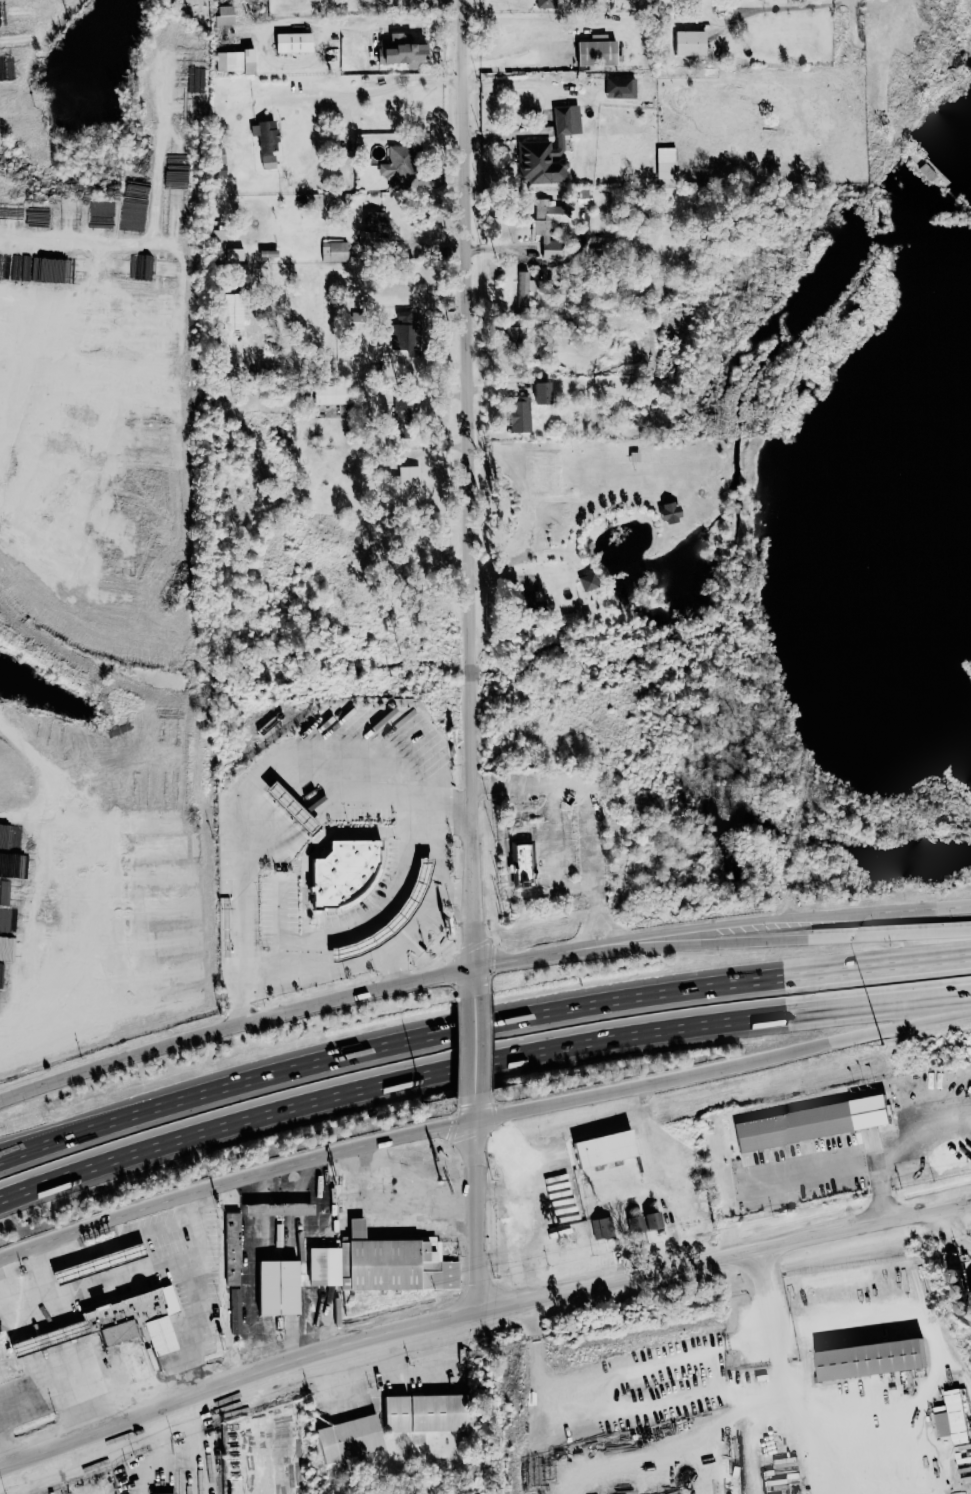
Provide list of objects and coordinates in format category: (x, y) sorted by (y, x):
building: (542, 3)
road: (780, 7)
building: (221, 14)
building: (289, 42)
building: (687, 42)
building: (395, 50)
building: (594, 51)
road: (512, 59)
building: (234, 61)
building: (618, 88)
road: (371, 91)
building: (262, 135)
building: (545, 149)
building: (266, 161)
building: (664, 163)
building: (391, 165)
building: (582, 195)
building: (177, 202)
building: (372, 221)
building: (546, 225)
building: (332, 251)
building: (237, 254)
building: (522, 289)
building: (111, 301)
building: (119, 321)
building: (512, 336)
building: (108, 343)
building: (538, 393)
building: (333, 394)
building: (517, 415)
building: (0, 478)
building: (406, 480)
road: (469, 483)
building: (104, 499)
building: (29, 506)
building: (665, 512)
building: (15, 530)
building: (83, 544)
building: (585, 581)
building: (530, 599)
road: (9, 727)
road: (24, 770)
road: (610, 797)
road: (269, 802)
building: (6, 835)
building: (520, 864)
building: (124, 874)
building: (147, 908)
road: (630, 918)
road: (814, 921)
road: (814, 939)
building: (127, 943)
road: (472, 981)
road: (323, 1002)
road: (551, 1012)
road: (473, 1045)
road: (478, 1066)
road: (722, 1067)
building: (808, 1122)
road: (70, 1132)
road: (70, 1140)
road: (894, 1145)
building: (597, 1148)
building: (947, 1154)
road: (809, 1176)
road: (234, 1183)
road: (15, 1196)
road: (476, 1204)
road: (391, 1218)
road: (954, 1218)
building: (640, 1221)
building: (229, 1248)
road: (303, 1254)
building: (392, 1263)
building: (313, 1264)
building: (274, 1287)
road: (183, 1300)
building: (235, 1310)
road: (479, 1312)
road: (765, 1314)
building: (133, 1319)
road: (257, 1330)
building: (866, 1359)
road: (936, 1364)
road: (64, 1368)
road: (631, 1370)
road: (626, 1408)
building: (419, 1413)
building: (950, 1417)
road: (717, 1422)
road: (815, 1428)
building: (344, 1438)
road: (179, 1460)
road: (1, 1461)
building: (160, 1493)

